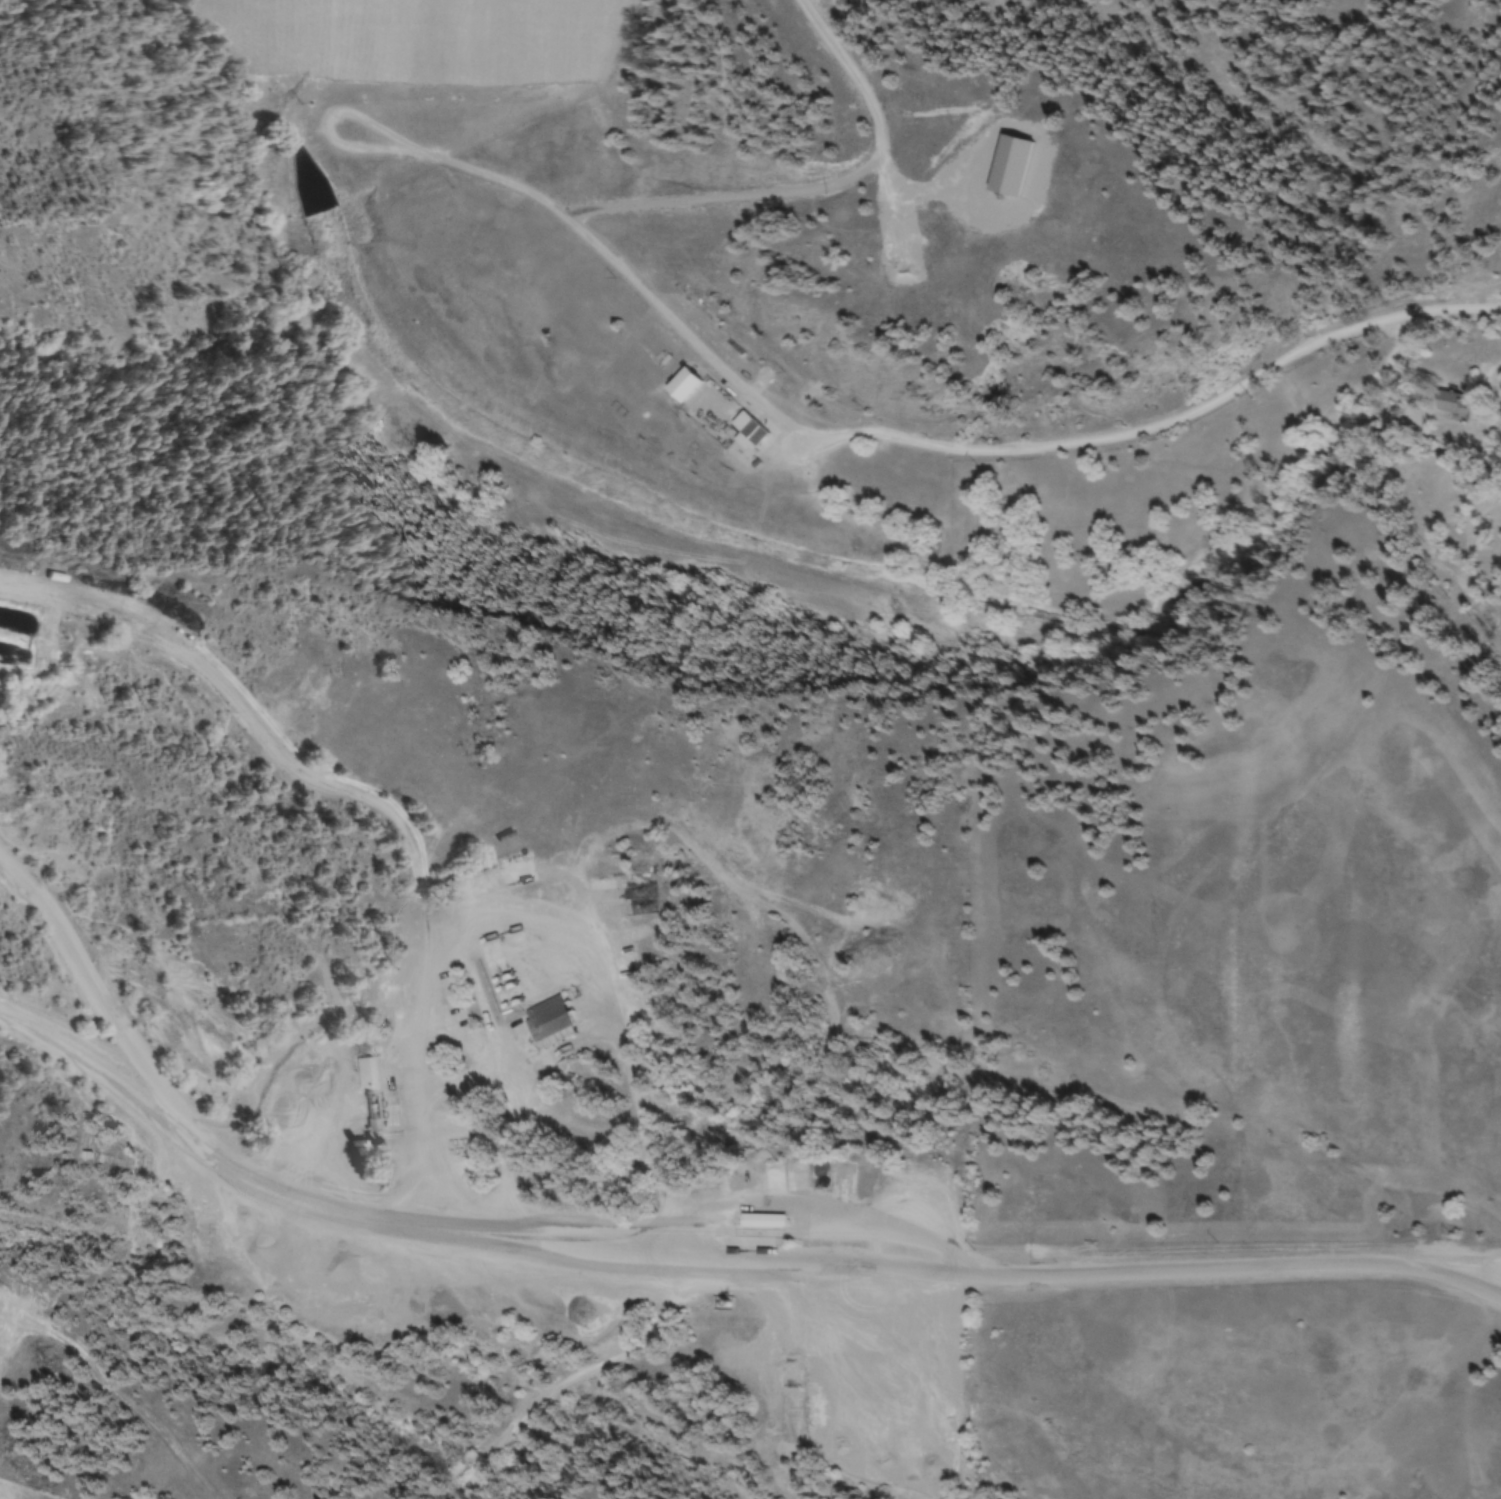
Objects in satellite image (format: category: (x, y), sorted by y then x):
road: (330, 126)
road: (817, 189)
building: (685, 389)
building: (1454, 407)
road: (920, 442)
building: (1481, 613)
building: (1500, 657)
building: (640, 909)
building: (547, 1019)
building: (762, 1222)
road: (1018, 1275)
road: (1457, 1282)

